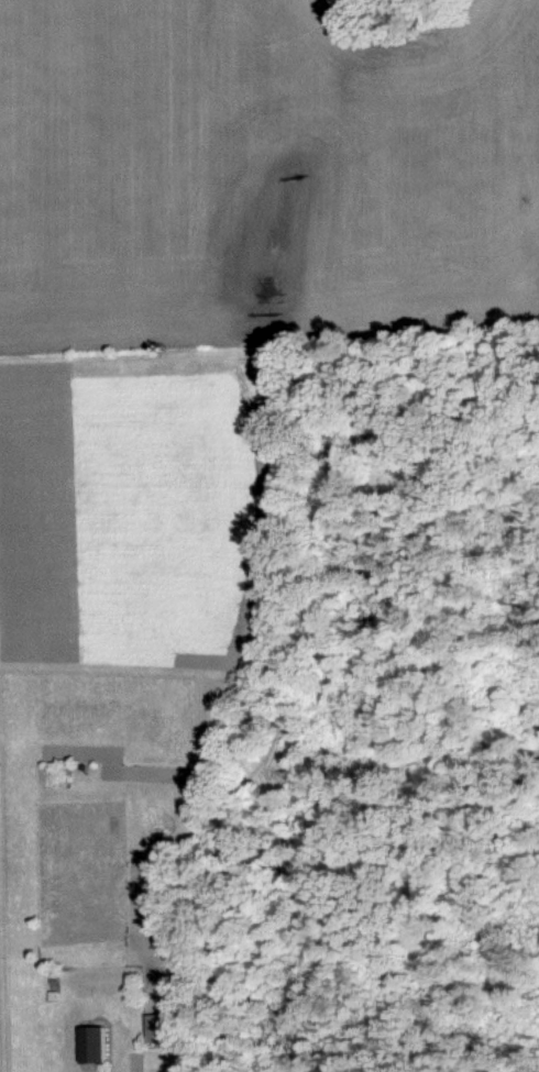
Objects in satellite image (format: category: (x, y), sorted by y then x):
building: (91, 1042)

